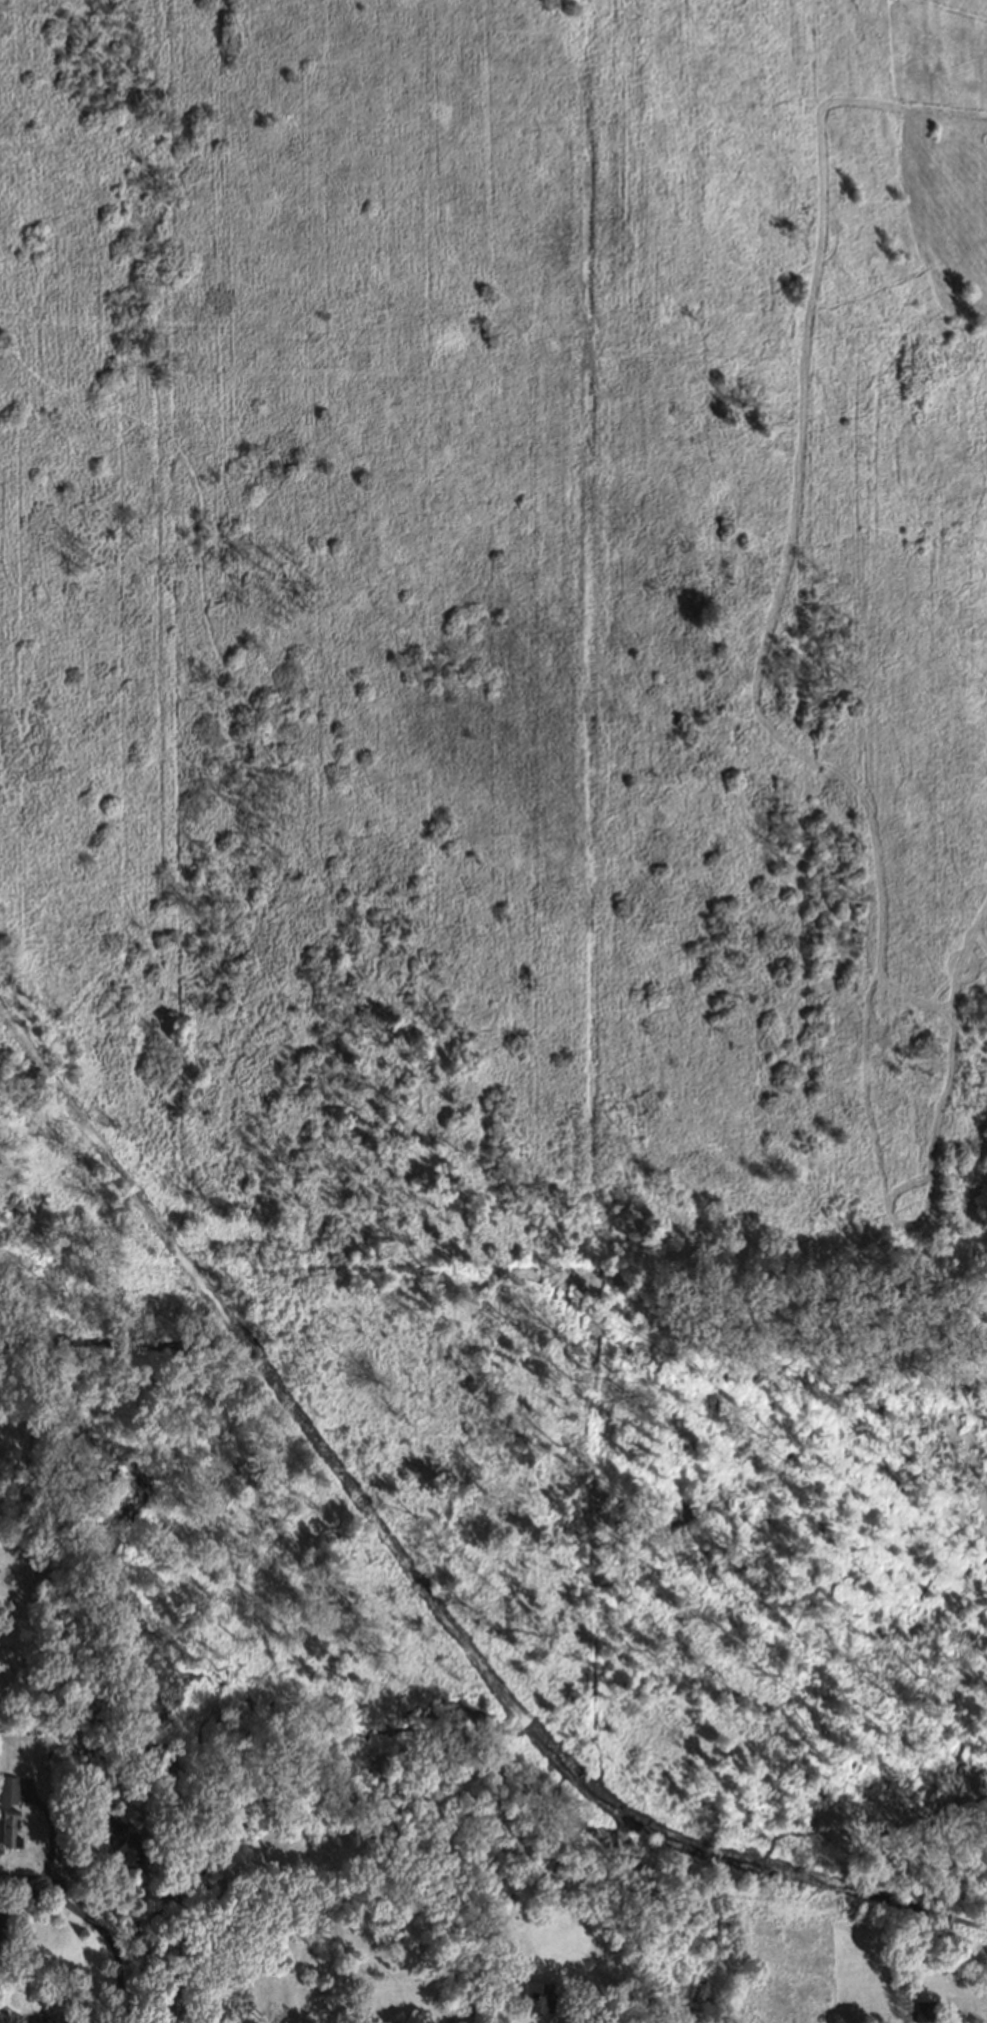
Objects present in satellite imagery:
building: (7, 1788)
building: (112, 1824)
building: (7, 1826)
building: (128, 1850)
road: (25, 1885)
road: (104, 1934)
building: (532, 1995)
building: (922, 2009)
road: (122, 2013)
building: (590, 2022)

